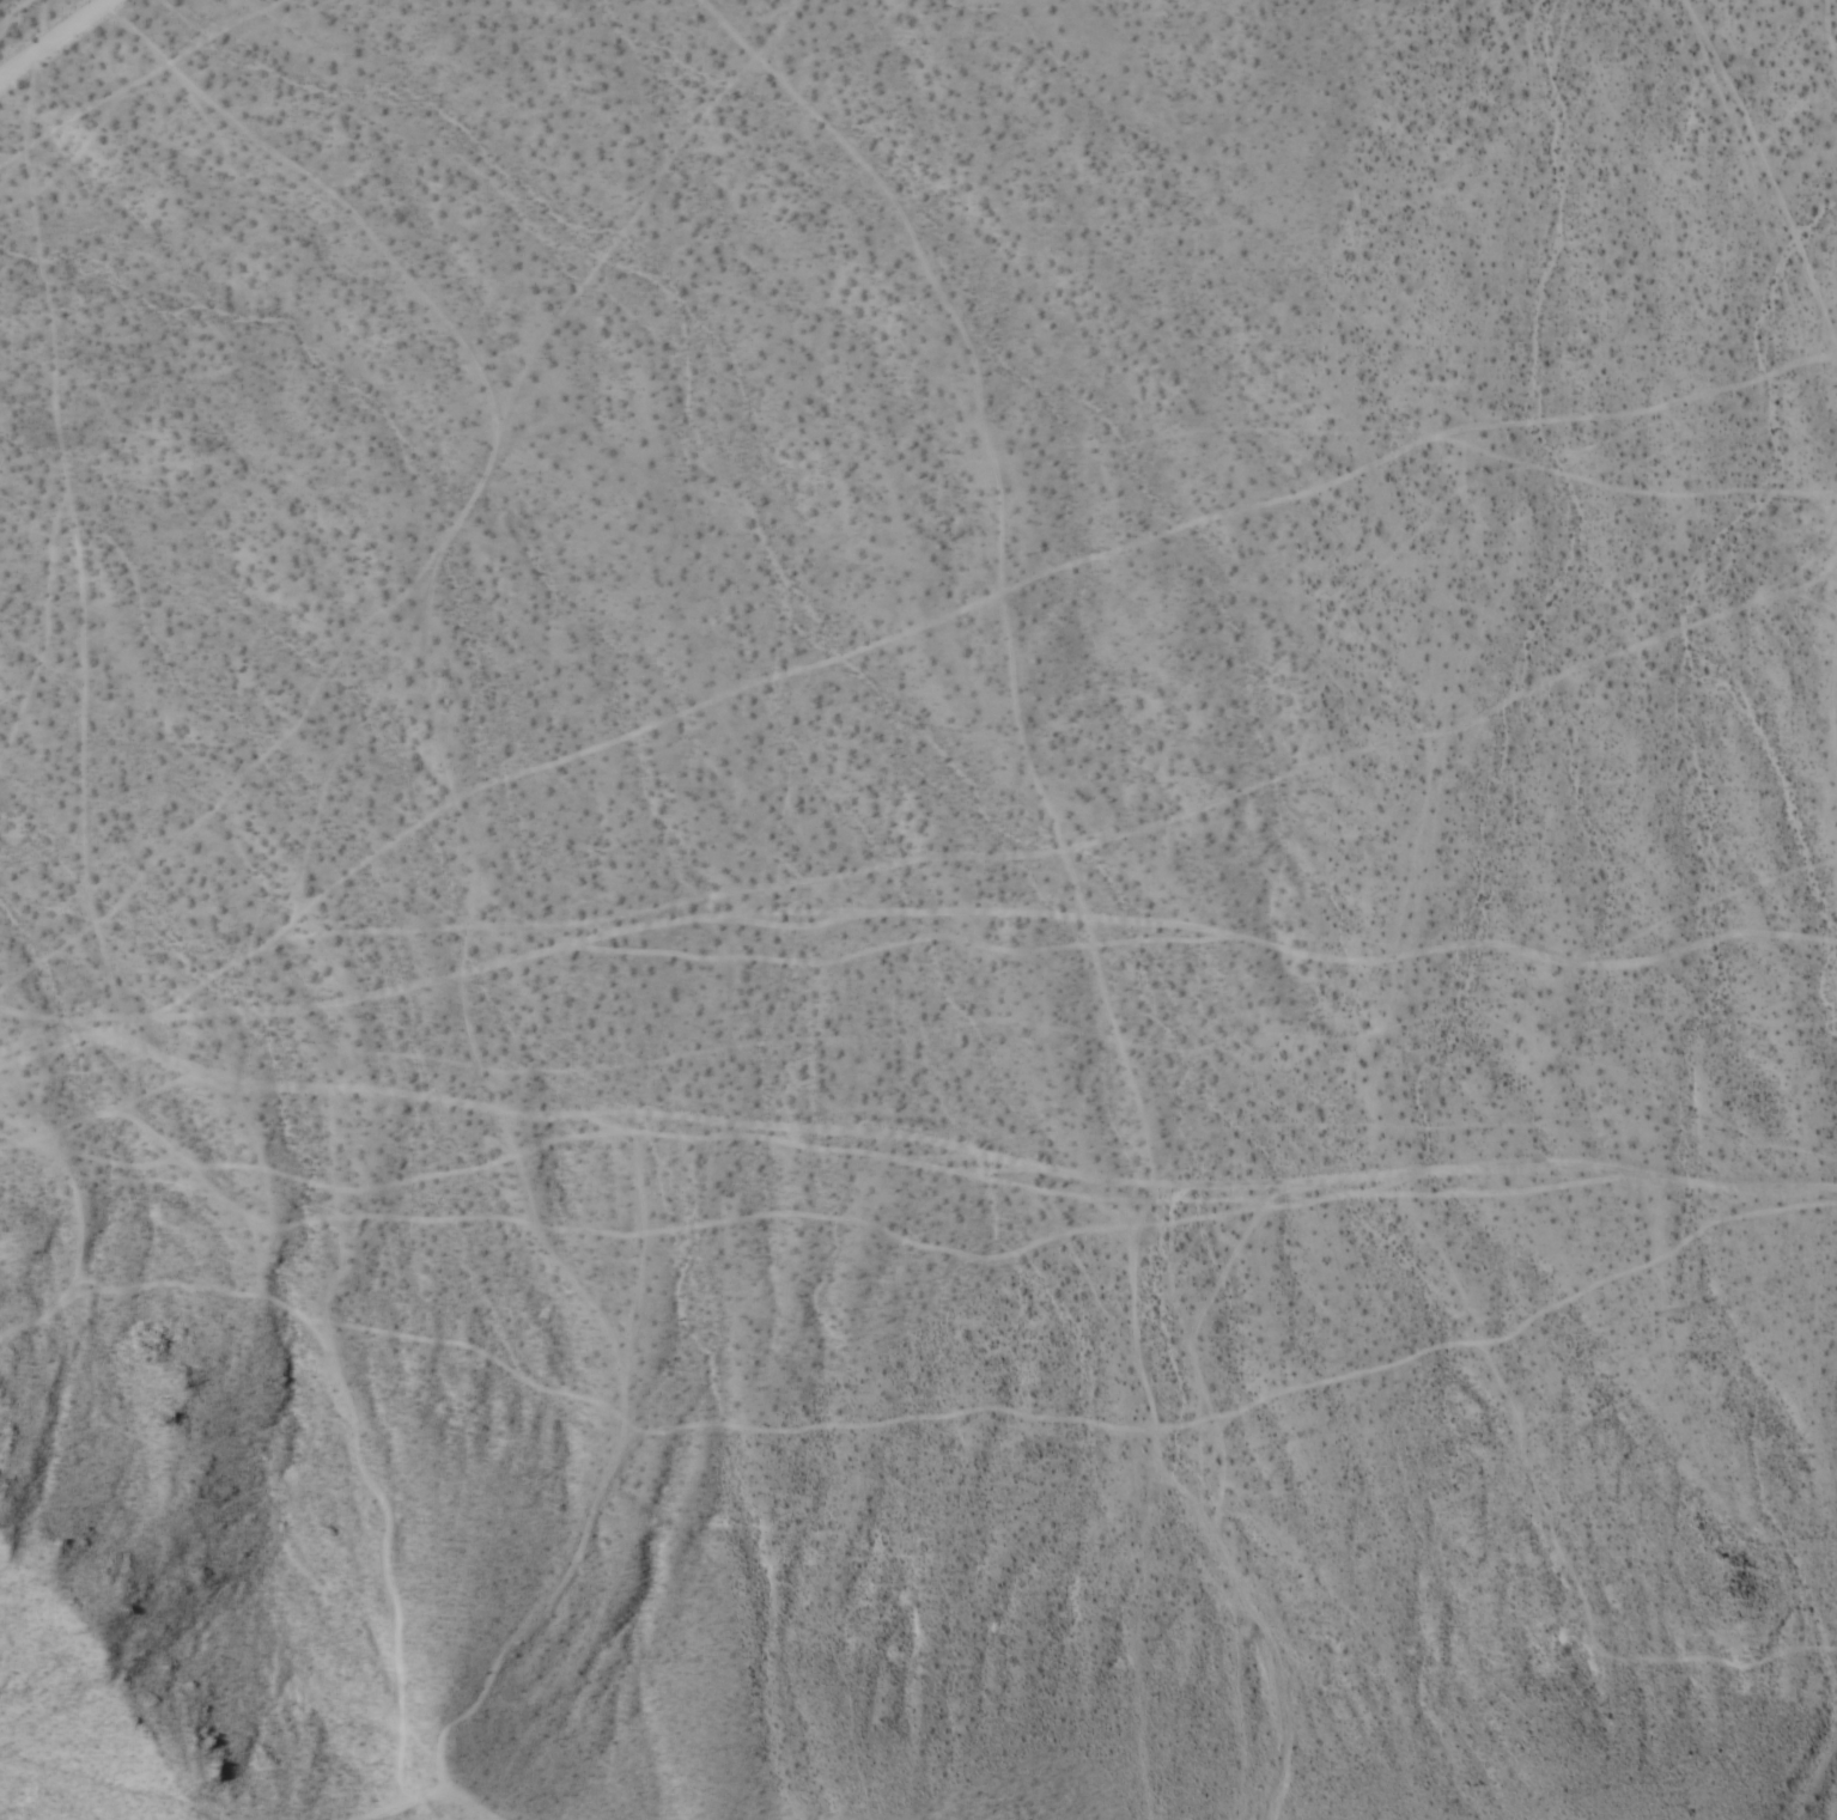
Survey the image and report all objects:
road: (56, 41)

